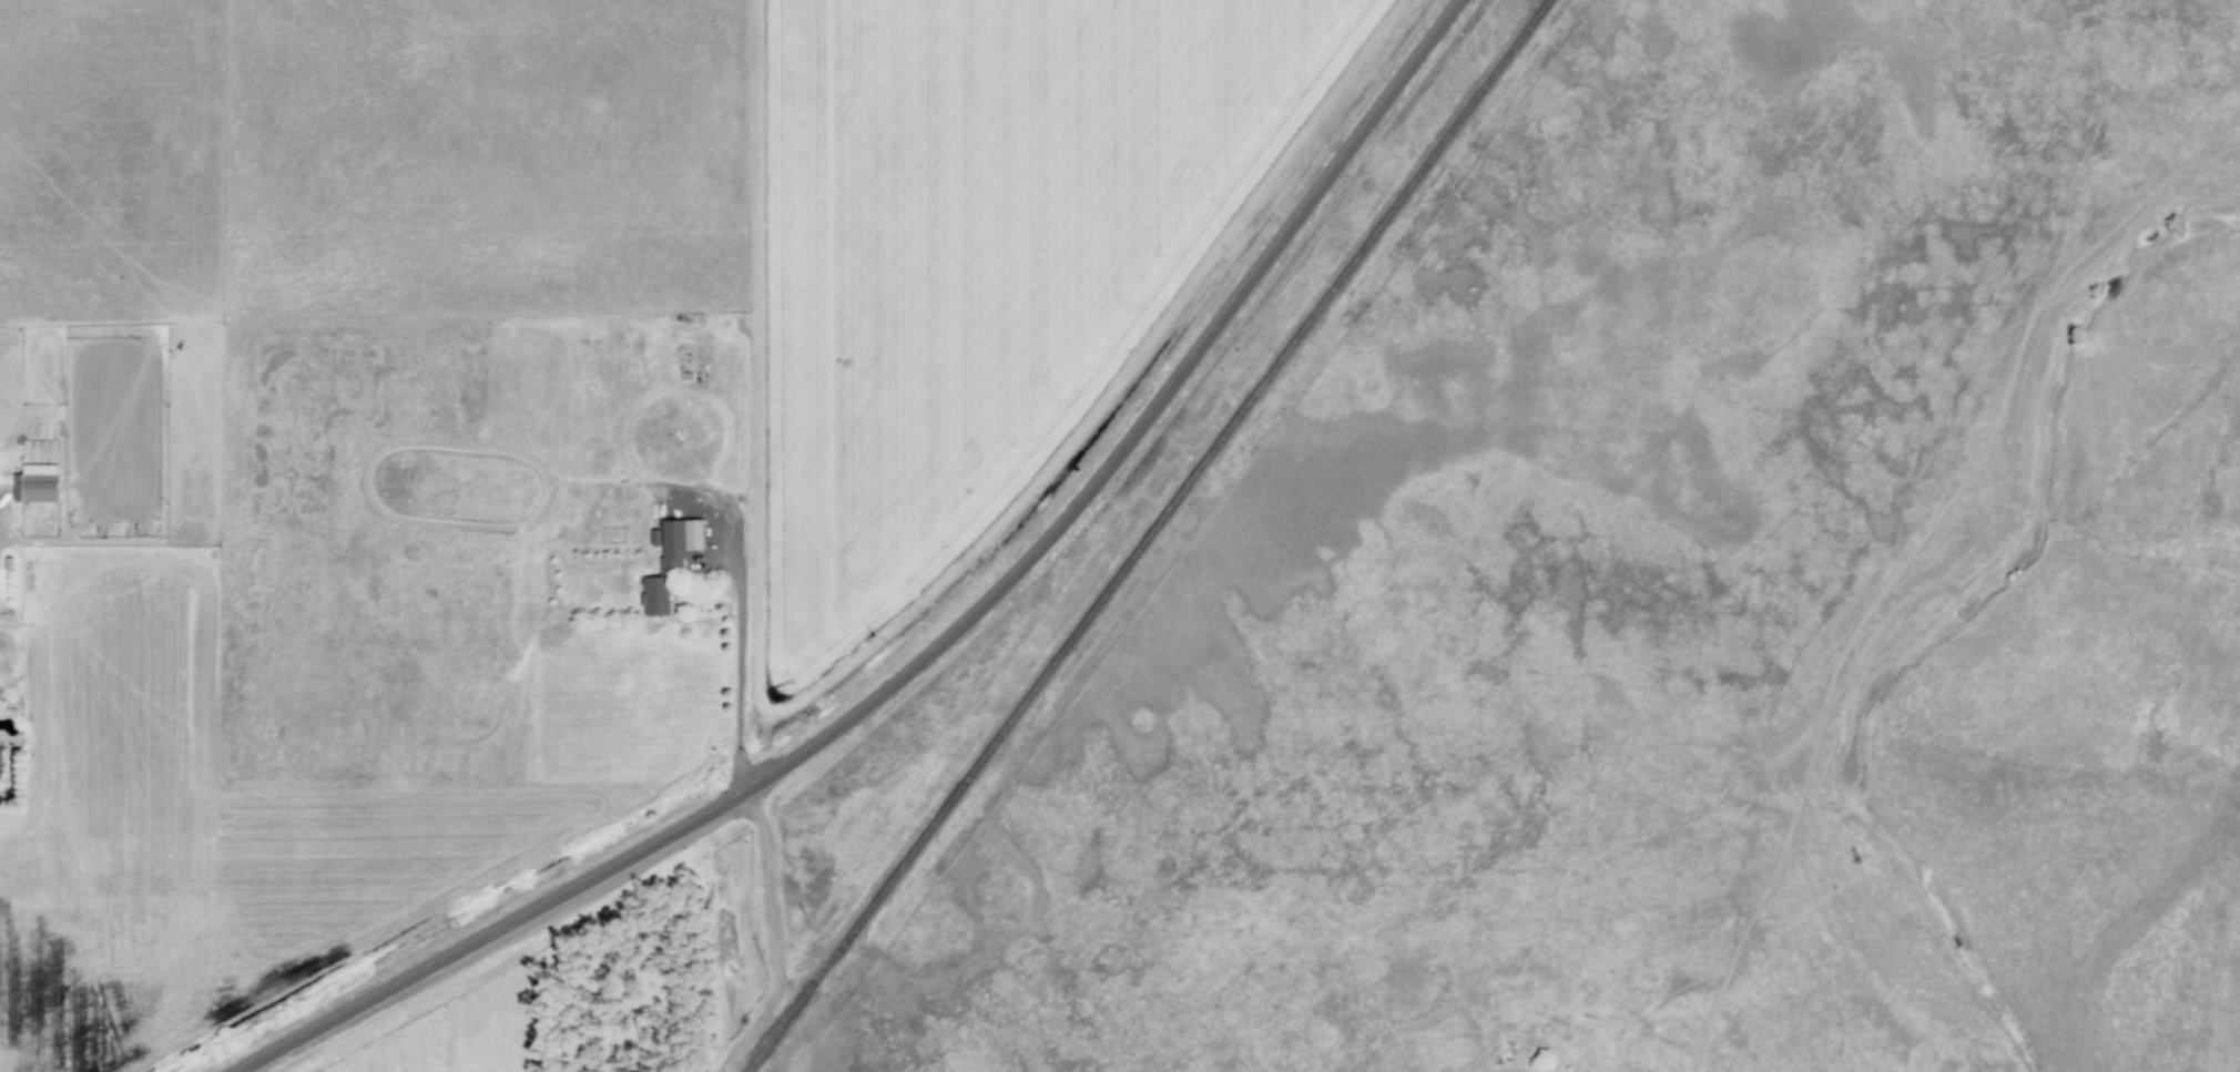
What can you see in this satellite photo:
building: (34, 492)
railway: (1149, 535)
building: (671, 561)
road: (946, 643)
road: (740, 675)
road: (780, 940)
railway: (773, 1029)

